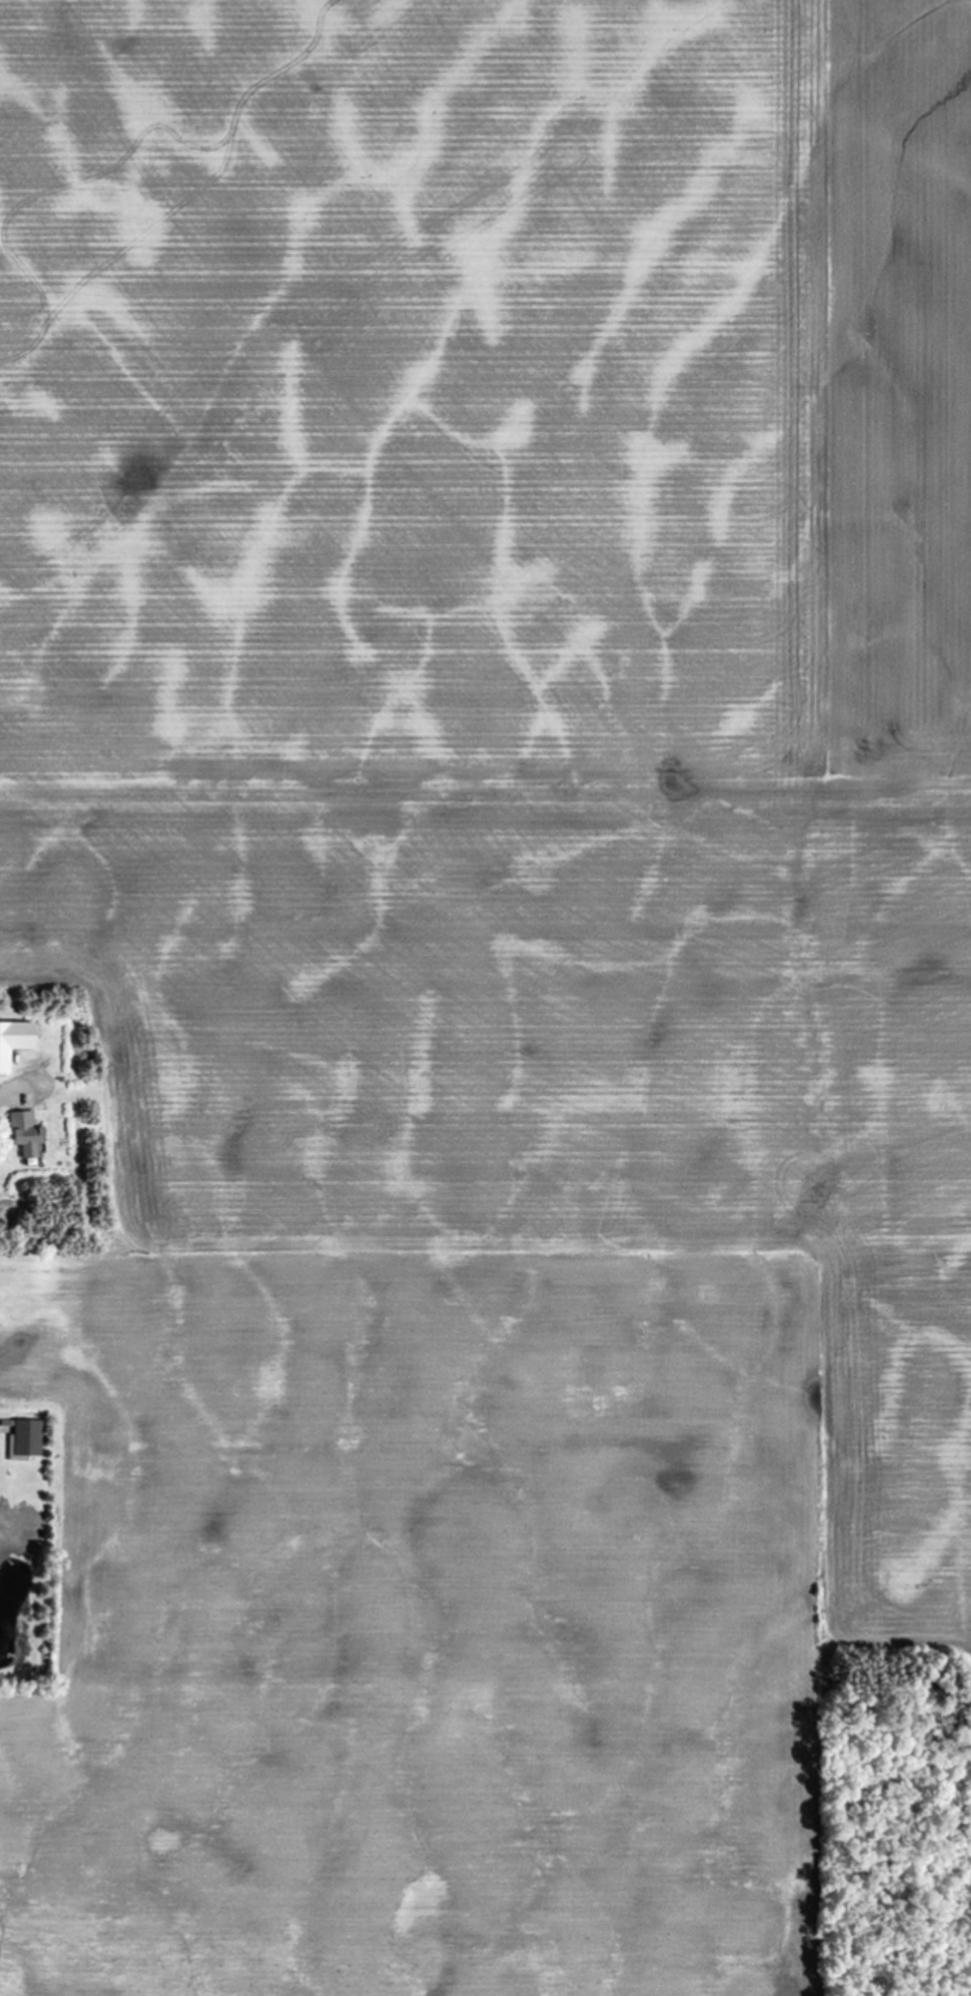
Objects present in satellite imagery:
building: (16, 1043)
road: (17, 1090)
building: (28, 1135)
building: (26, 1441)

